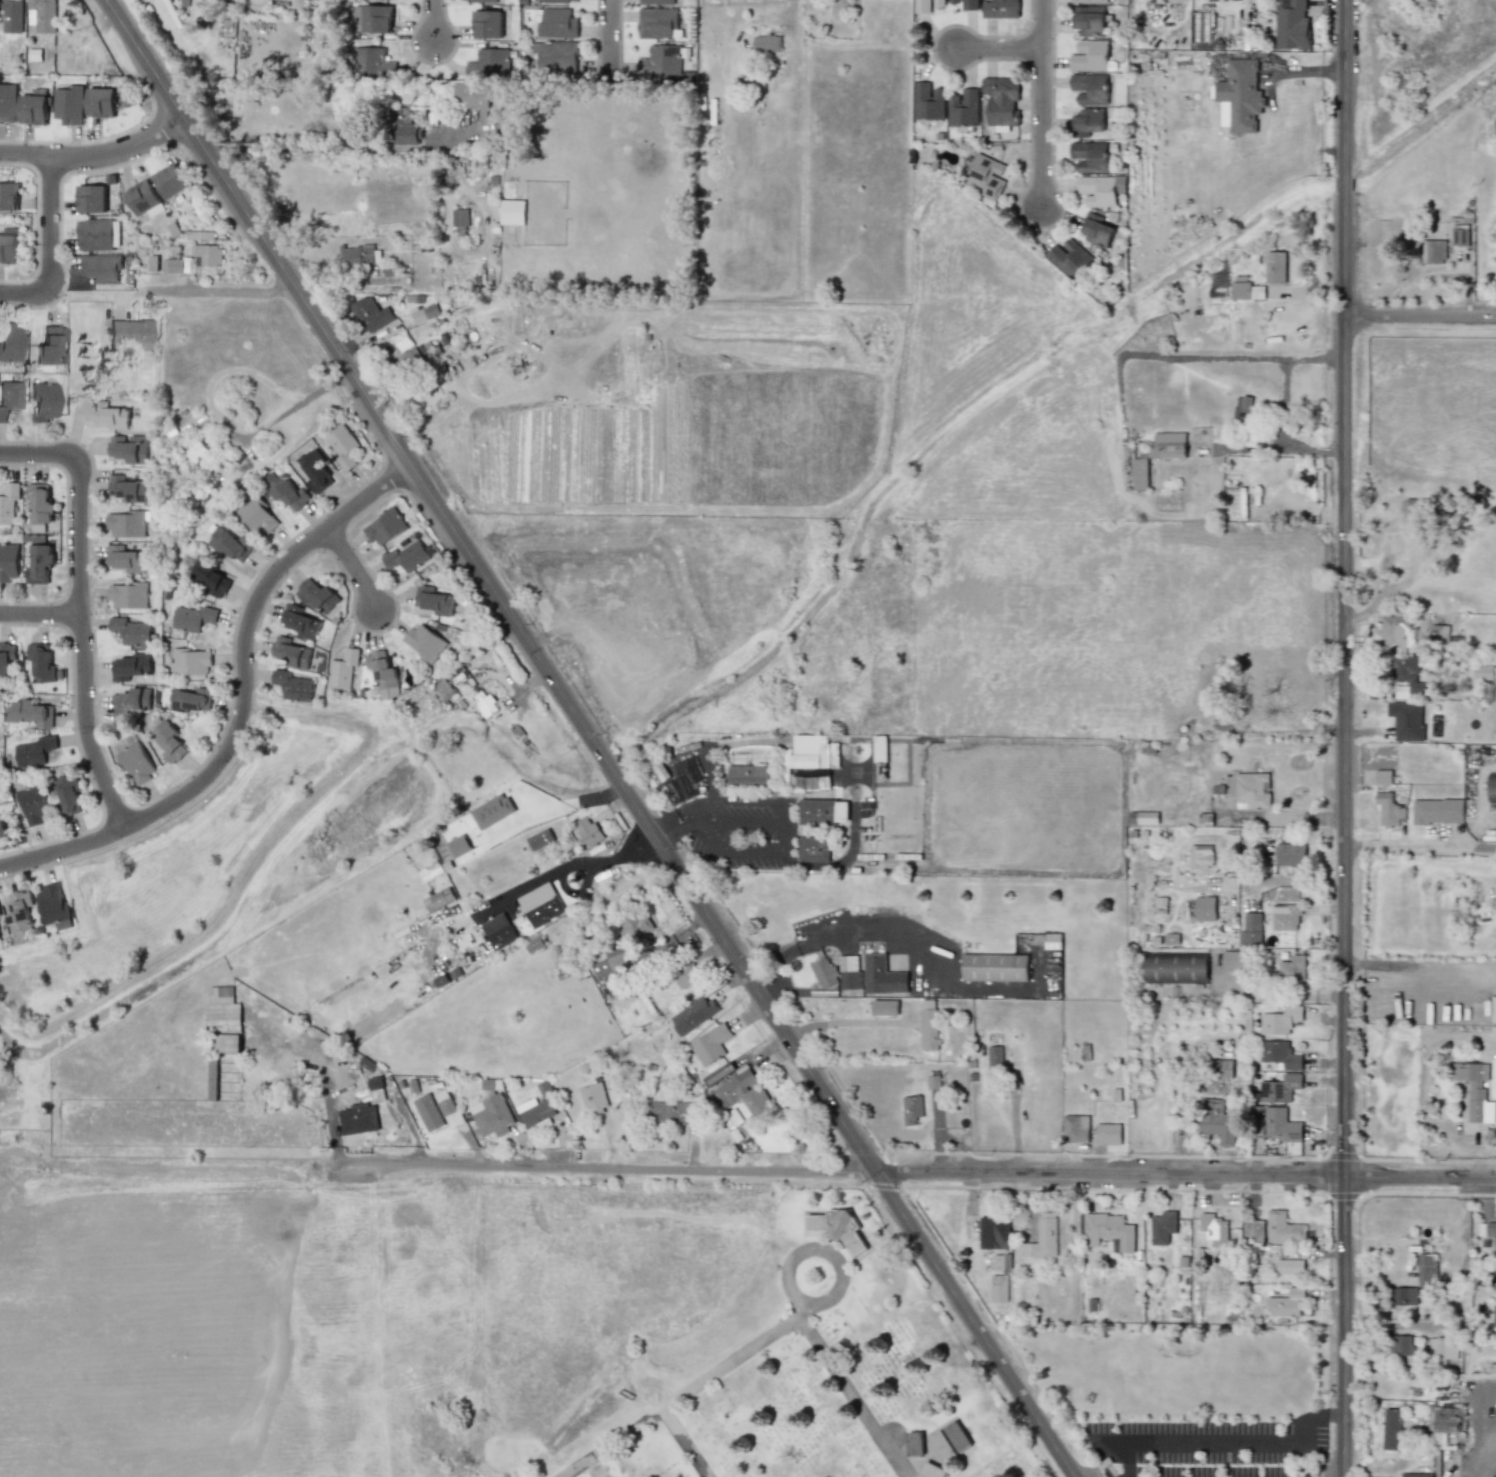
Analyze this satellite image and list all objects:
building: (479, 0)
building: (561, 0)
building: (656, 1)
building: (1088, 1)
building: (965, 4)
building: (926, 5)
building: (1000, 8)
building: (42, 15)
building: (12, 16)
building: (373, 19)
road: (434, 19)
building: (1088, 19)
road: (791, 20)
building: (557, 23)
building: (658, 23)
building: (487, 24)
building: (1291, 25)
road: (609, 40)
building: (767, 43)
road: (999, 49)
building: (556, 55)
building: (1090, 55)
building: (661, 60)
building: (372, 63)
building: (489, 63)
building: (1089, 88)
building: (1240, 94)
building: (471, 95)
building: (1001, 99)
building: (100, 101)
building: (928, 101)
building: (7, 103)
road: (1042, 103)
building: (68, 104)
building: (963, 107)
building: (33, 109)
building: (1087, 122)
building: (404, 126)
road: (119, 146)
road: (271, 147)
road: (25, 155)
building: (1089, 156)
building: (986, 177)
building: (171, 180)
building: (1101, 189)
building: (8, 196)
building: (91, 198)
building: (143, 198)
building: (512, 211)
building: (460, 221)
building: (1097, 231)
building: (98, 234)
building: (1459, 234)
building: (8, 248)
road: (49, 251)
building: (1433, 252)
building: (206, 254)
building: (359, 255)
building: (1069, 257)
building: (175, 265)
building: (101, 267)
building: (1275, 267)
building: (1246, 290)
road: (210, 292)
building: (365, 311)
building: (425, 313)
road: (1419, 315)
building: (130, 333)
building: (9, 342)
building: (48, 345)
building: (9, 398)
building: (42, 402)
road: (1281, 402)
road: (297, 404)
building: (1242, 409)
building: (109, 415)
building: (1170, 444)
building: (345, 446)
building: (129, 447)
building: (197, 451)
building: (315, 471)
building: (1139, 473)
building: (128, 488)
building: (288, 492)
building: (8, 502)
building: (40, 502)
building: (1414, 507)
building: (258, 515)
building: (126, 523)
building: (385, 527)
building: (230, 544)
building: (408, 555)
building: (126, 559)
building: (9, 561)
building: (40, 563)
road: (351, 568)
building: (210, 578)
building: (129, 594)
building: (318, 596)
building: (434, 600)
road: (80, 608)
road: (40, 615)
building: (194, 617)
building: (300, 621)
building: (1395, 630)
building: (132, 631)
building: (1440, 633)
building: (425, 642)
building: (291, 652)
building: (6, 656)
building: (192, 661)
building: (41, 662)
building: (131, 666)
building: (343, 669)
building: (1483, 672)
building: (383, 673)
building: (1407, 676)
building: (294, 685)
building: (192, 699)
building: (132, 700)
road: (244, 703)
building: (484, 703)
building: (33, 713)
building: (1406, 720)
road: (1282, 732)
road: (591, 738)
road: (1342, 738)
building: (169, 741)
building: (879, 748)
building: (34, 751)
building: (810, 751)
building: (134, 759)
building: (748, 774)
building: (1383, 776)
road: (705, 777)
building: (682, 779)
building: (810, 782)
building: (1491, 787)
building: (1252, 789)
building: (69, 793)
road: (750, 800)
building: (34, 804)
building: (1389, 809)
building: (492, 811)
road: (680, 811)
building: (823, 811)
building: (1437, 811)
building: (1143, 817)
road: (751, 821)
road: (715, 825)
road: (787, 825)
road: (685, 827)
building: (2, 828)
building: (588, 831)
building: (540, 839)
building: (459, 845)
road: (1419, 846)
building: (814, 848)
road: (752, 851)
building: (1290, 854)
building: (1200, 856)
road: (827, 865)
road: (555, 873)
road: (1274, 879)
building: (438, 899)
building: (539, 904)
building: (54, 905)
building: (1204, 908)
building: (20, 911)
building: (0, 915)
building: (1284, 916)
building: (634, 924)
building: (499, 930)
building: (1251, 930)
building: (0, 936)
building: (1053, 940)
building: (534, 943)
building: (559, 957)
building: (1232, 960)
building: (612, 961)
road: (940, 966)
road: (1418, 966)
building: (995, 967)
building: (1175, 967)
building: (1291, 970)
building: (849, 972)
building: (685, 973)
road: (781, 974)
building: (824, 974)
building: (881, 975)
building: (884, 1007)
building: (222, 1009)
building: (693, 1014)
building: (1280, 1020)
road: (838, 1021)
building: (928, 1024)
building: (227, 1042)
building: (710, 1044)
building: (1279, 1053)
building: (994, 1056)
building: (1221, 1068)
building: (720, 1072)
building: (212, 1075)
building: (1279, 1088)
building: (1474, 1089)
road: (327, 1092)
building: (743, 1092)
building: (594, 1098)
building: (448, 1108)
building: (911, 1109)
building: (534, 1111)
building: (429, 1112)
building: (671, 1112)
building: (491, 1114)
building: (356, 1118)
building: (733, 1118)
building: (1216, 1120)
road: (1433, 1123)
building: (1281, 1124)
building: (1075, 1128)
building: (1107, 1133)
building: (1294, 1148)
road: (916, 1169)
building: (837, 1226)
building: (1162, 1227)
building: (1283, 1228)
building: (1214, 1229)
building: (1488, 1229)
building: (1108, 1230)
building: (1254, 1231)
building: (994, 1232)
building: (1042, 1239)
building: (1002, 1262)
building: (1290, 1266)
building: (1426, 1268)
building: (999, 1288)
building: (1405, 1295)
road: (825, 1303)
building: (1286, 1303)
road: (801, 1309)
building: (1494, 1316)
road: (805, 1326)
road: (1397, 1326)
building: (1401, 1345)
building: (1443, 1347)
park: (817, 1369)
road: (643, 1418)
road: (1319, 1418)
building: (1390, 1428)
building: (1446, 1428)
road: (1201, 1440)
building: (950, 1441)
building: (915, 1443)
road: (1117, 1455)
road: (1305, 1458)
road: (1483, 1460)
building: (932, 1471)
building: (1417, 1475)

